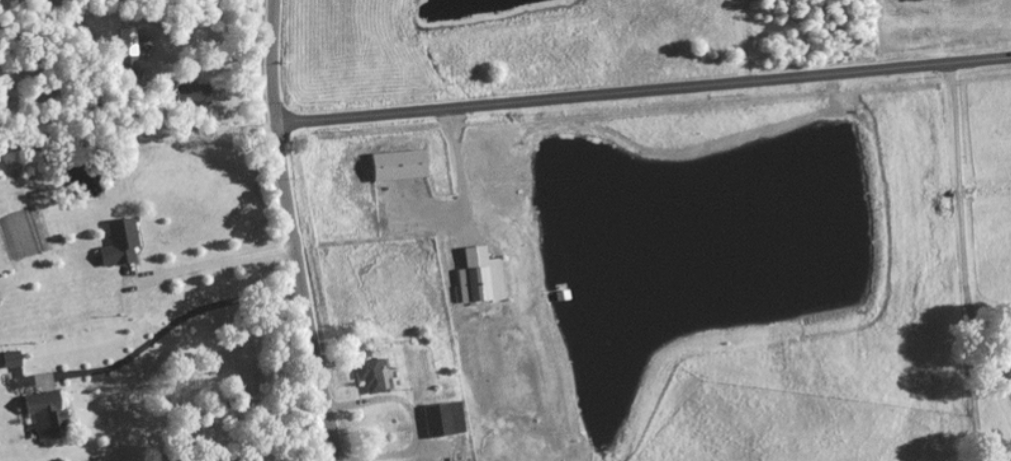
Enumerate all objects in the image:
building: (127, 48)
road: (643, 93)
building: (191, 94)
building: (396, 165)
road: (290, 232)
building: (118, 243)
building: (478, 277)
building: (9, 360)
building: (370, 377)
building: (44, 415)
building: (442, 419)

